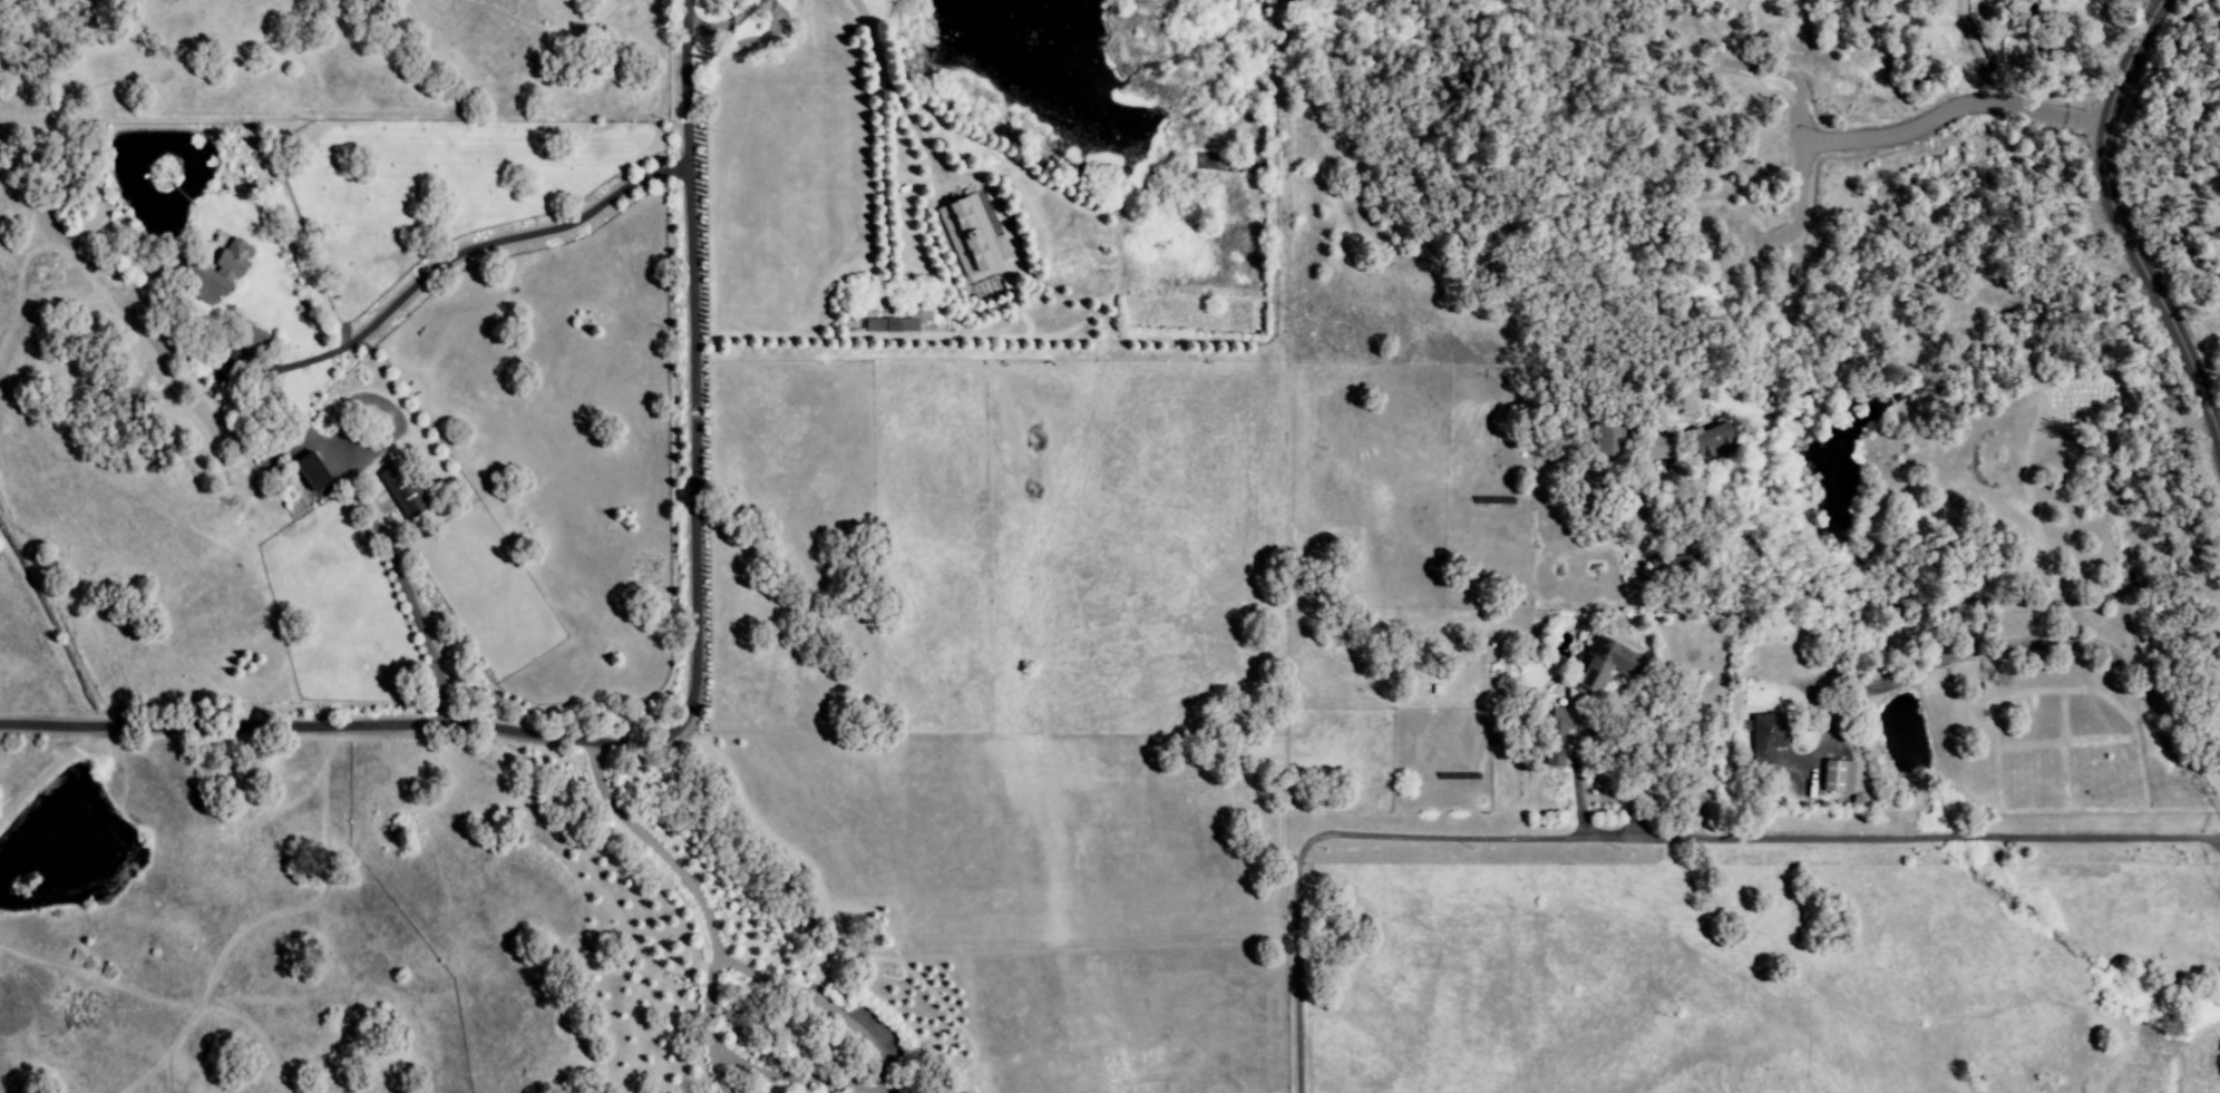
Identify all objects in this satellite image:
road: (1887, 135)
road: (2120, 224)
building: (971, 235)
building: (222, 271)
building: (892, 325)
building: (257, 339)
road: (331, 358)
building: (1612, 439)
building: (1714, 441)
building: (1663, 447)
building: (312, 471)
building: (403, 495)
building: (1675, 566)
road: (1989, 601)
road: (2007, 646)
building: (1606, 664)
road: (683, 701)
building: (1557, 733)
building: (1768, 736)
building: (1837, 777)
road: (1573, 781)
road: (1636, 839)
road: (733, 1061)

